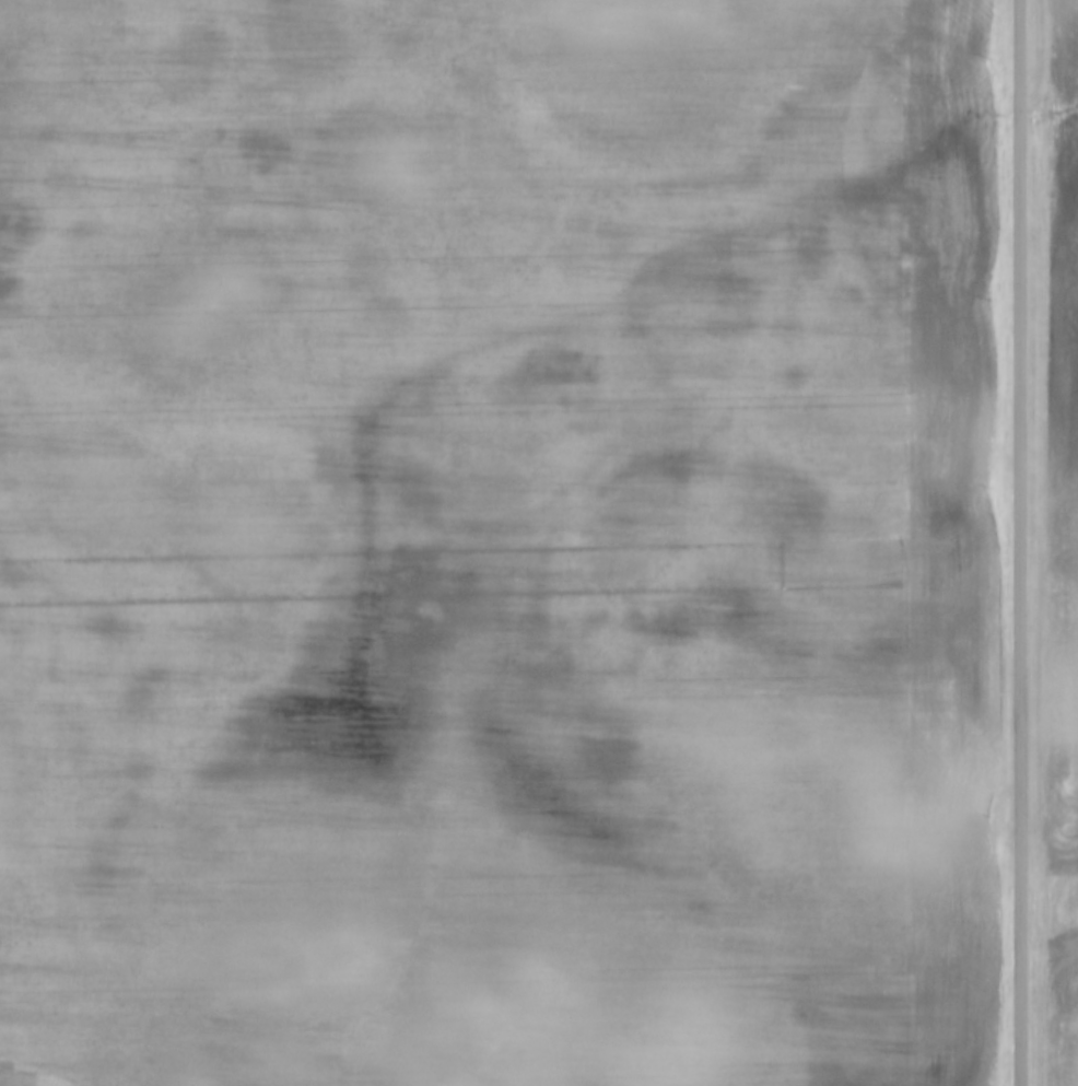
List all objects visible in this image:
road: (1022, 542)

